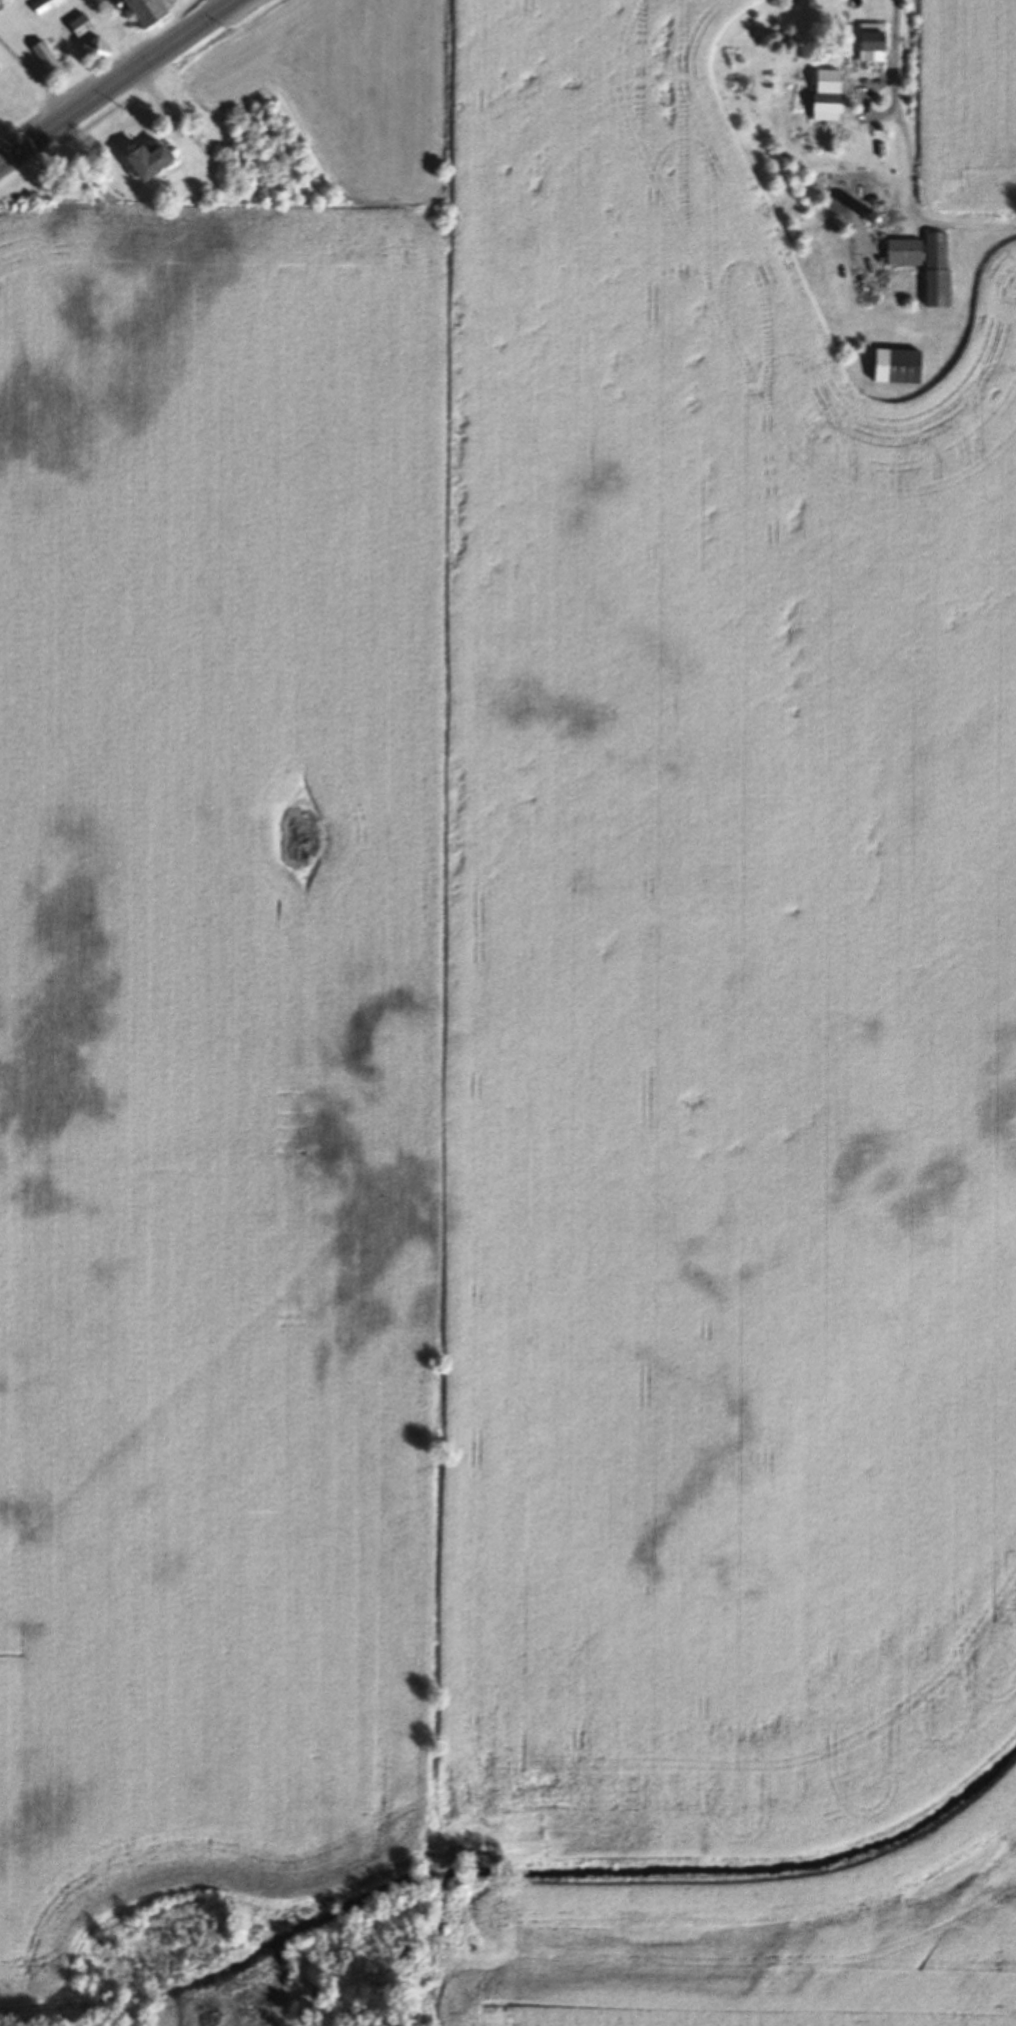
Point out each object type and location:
building: (45, 6)
building: (140, 12)
building: (78, 27)
building: (870, 47)
road: (905, 49)
building: (92, 51)
building: (48, 63)
road: (119, 83)
building: (826, 97)
building: (142, 163)
road: (906, 173)
building: (904, 255)
building: (937, 272)
building: (896, 368)

